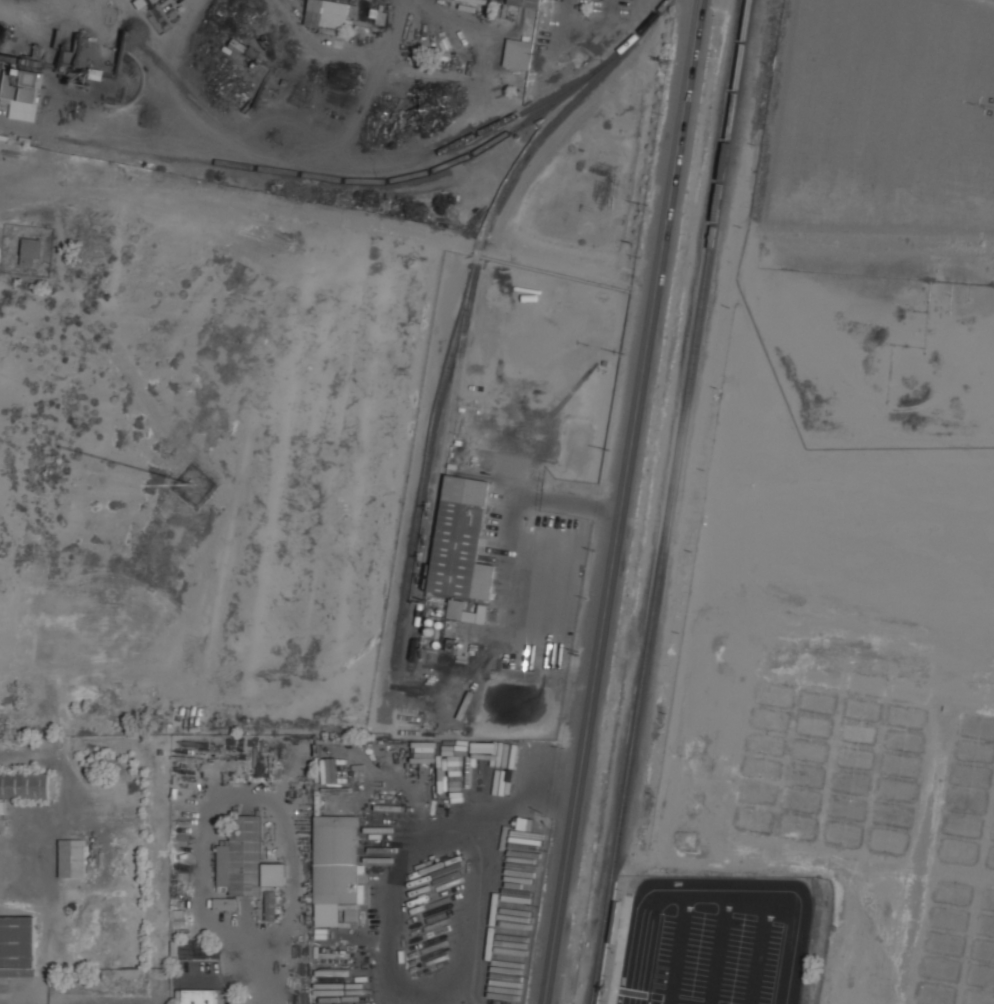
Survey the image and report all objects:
building: (527, 3)
building: (328, 14)
building: (22, 85)
railway: (401, 174)
building: (32, 251)
railway: (465, 320)
road: (620, 501)
railway: (670, 501)
building: (462, 542)
building: (482, 619)
building: (23, 788)
building: (241, 858)
building: (73, 859)
building: (336, 866)
building: (274, 875)
railway: (623, 882)
road: (724, 893)
building: (226, 904)
building: (270, 906)
parking lot: (716, 942)
building: (17, 947)
road: (678, 948)
road: (718, 948)
road: (759, 949)
road: (246, 971)
road: (453, 988)
building: (199, 996)

